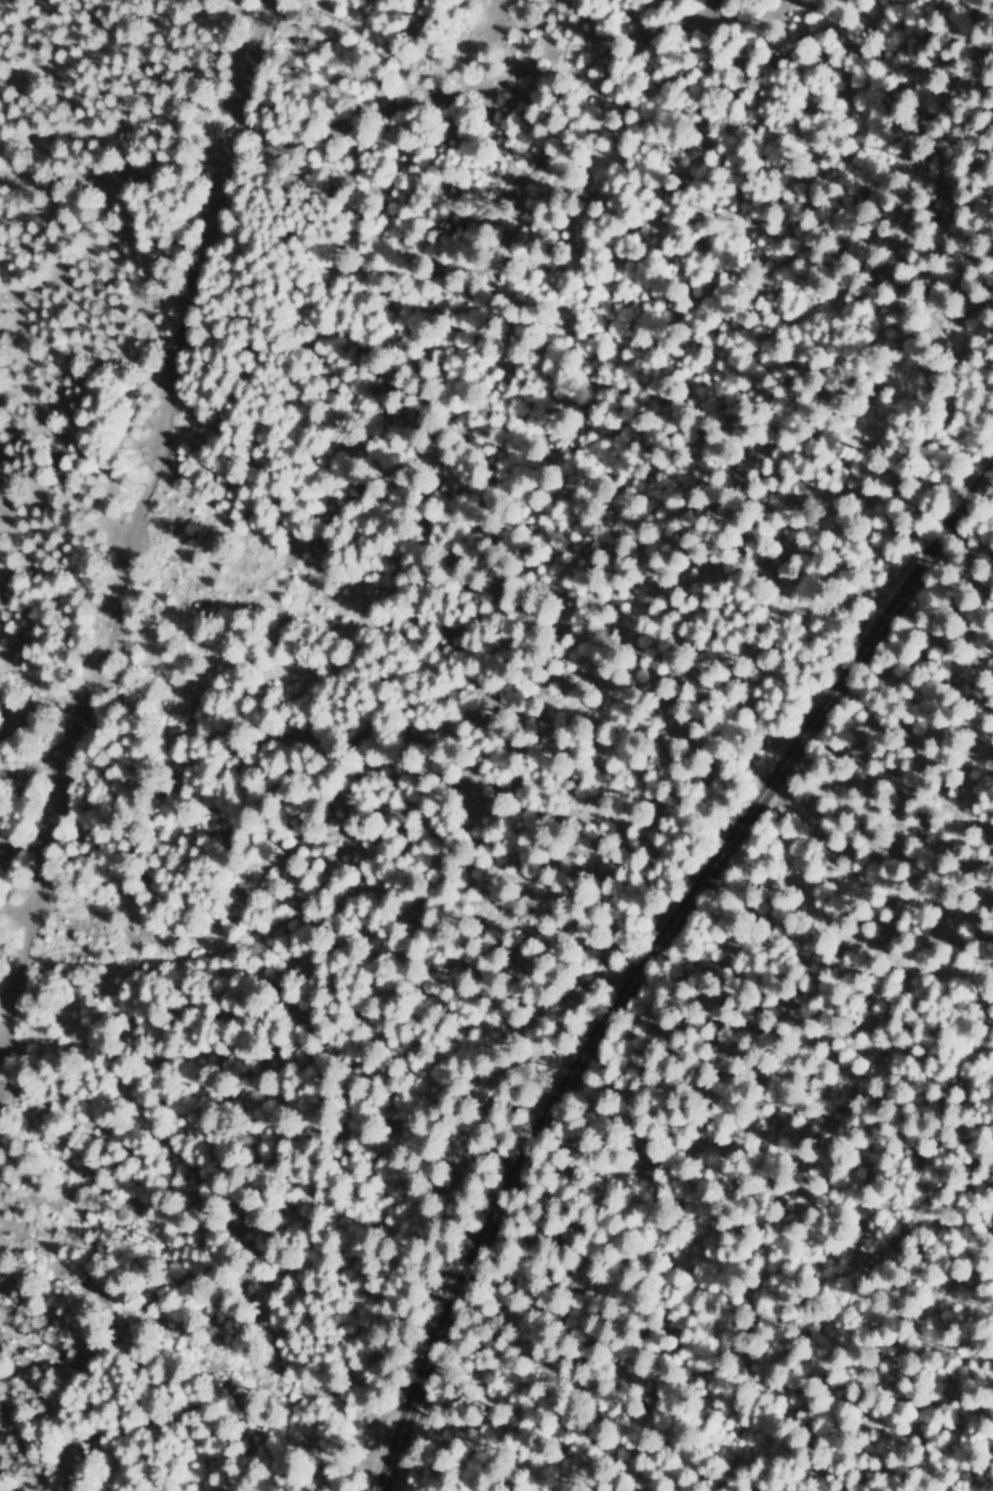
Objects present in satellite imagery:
road: (131, 509)
road: (640, 938)

